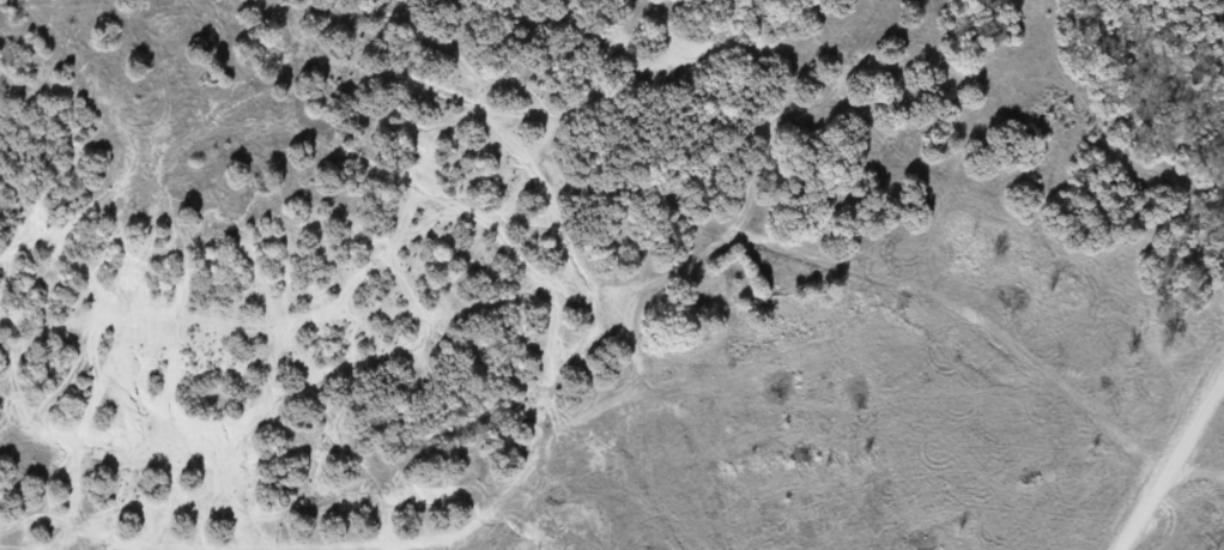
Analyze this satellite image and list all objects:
road: (1170, 461)

